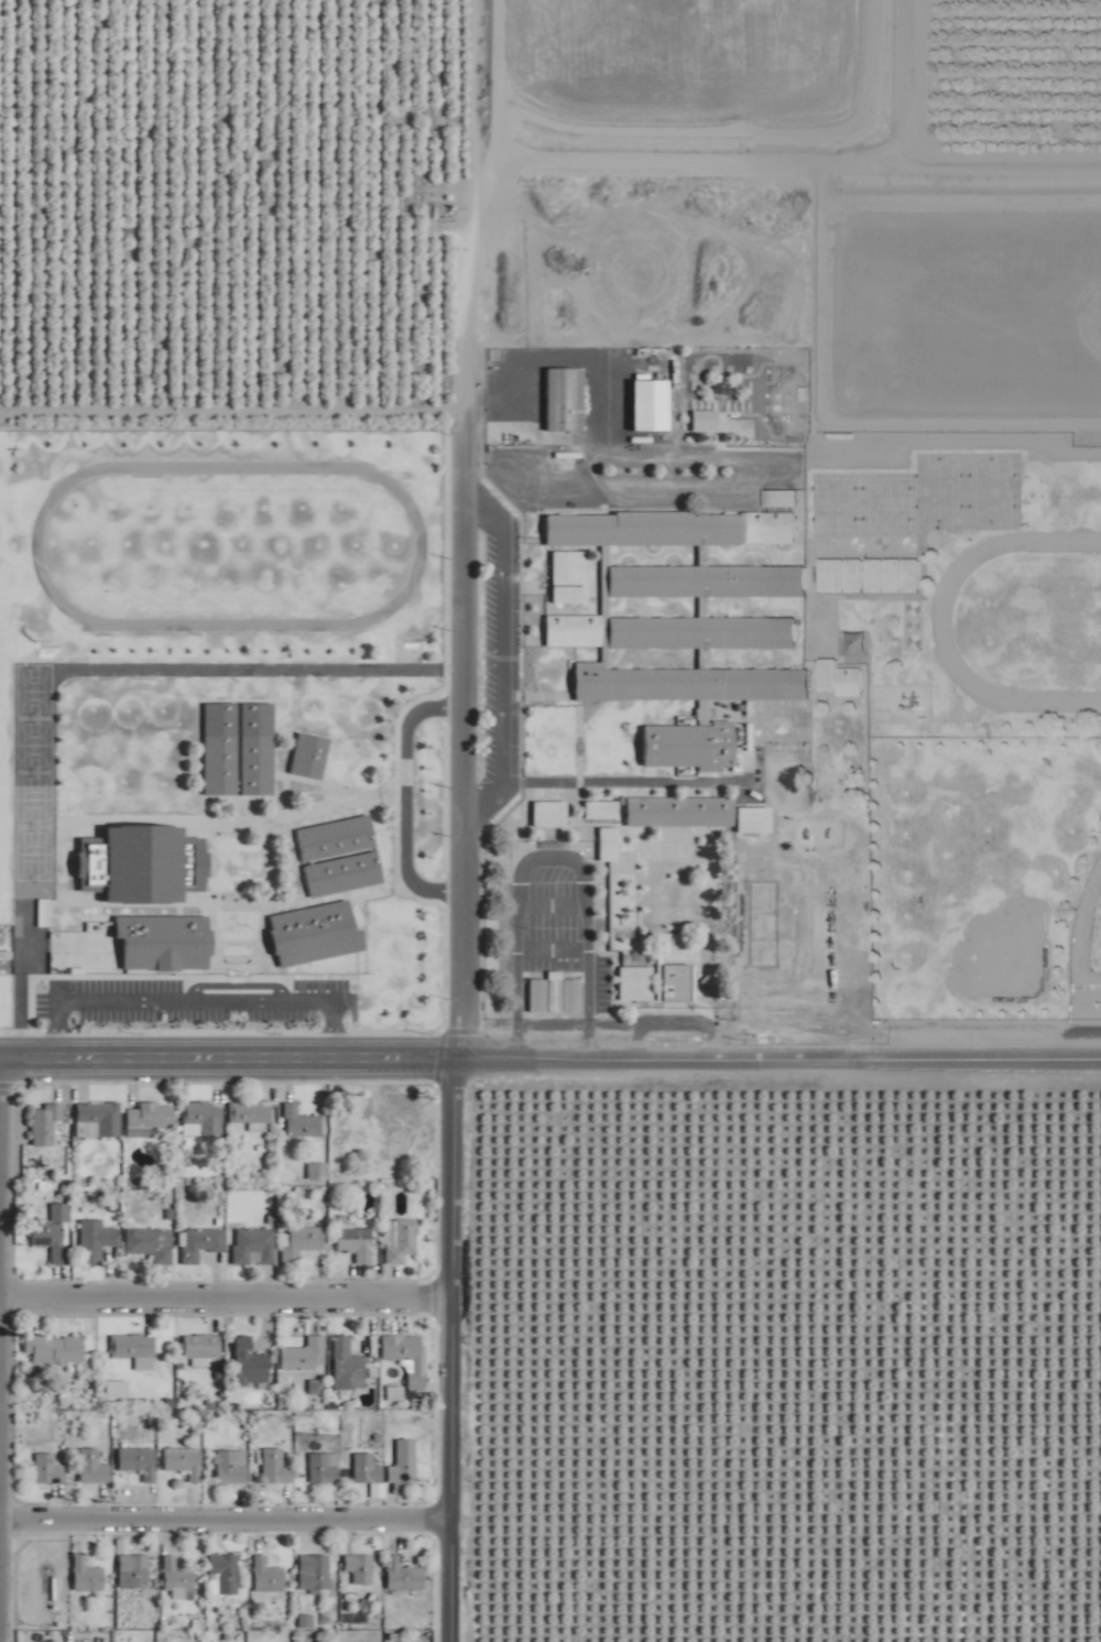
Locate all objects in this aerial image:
crop: (1020, 57)
crop: (224, 83)
building: (564, 400)
building: (647, 405)
building: (870, 575)
building: (568, 576)
building: (680, 618)
road: (509, 665)
building: (840, 678)
road: (457, 735)
building: (310, 755)
building: (220, 765)
building: (258, 765)
road: (414, 806)
building: (601, 808)
building: (679, 812)
building: (549, 814)
building: (753, 819)
building: (336, 838)
building: (602, 844)
road: (557, 855)
building: (344, 874)
building: (314, 934)
building: (134, 945)
building: (635, 983)
building: (677, 983)
building: (555, 994)
road: (521, 1033)
road: (592, 1034)
road: (225, 1051)
road: (775, 1053)
building: (251, 1112)
building: (149, 1119)
building: (203, 1119)
building: (98, 1120)
building: (301, 1123)
building: (45, 1124)
building: (61, 1213)
building: (52, 1240)
building: (399, 1242)
building: (356, 1243)
building: (97, 1244)
building: (152, 1244)
building: (200, 1244)
building: (301, 1244)
building: (254, 1248)
road: (225, 1286)
road: (448, 1346)
building: (201, 1347)
building: (133, 1348)
building: (54, 1351)
building: (305, 1356)
building: (408, 1359)
building: (250, 1366)
building: (347, 1366)
crop: (806, 1369)
building: (118, 1389)
building: (139, 1461)
building: (185, 1461)
building: (404, 1462)
building: (231, 1466)
building: (92, 1467)
building: (276, 1467)
building: (47, 1468)
building: (323, 1469)
building: (367, 1469)
road: (224, 1509)
building: (360, 1568)
building: (133, 1570)
building: (226, 1572)
building: (314, 1572)
building: (87, 1575)
building: (268, 1576)
building: (403, 1576)
building: (178, 1579)

